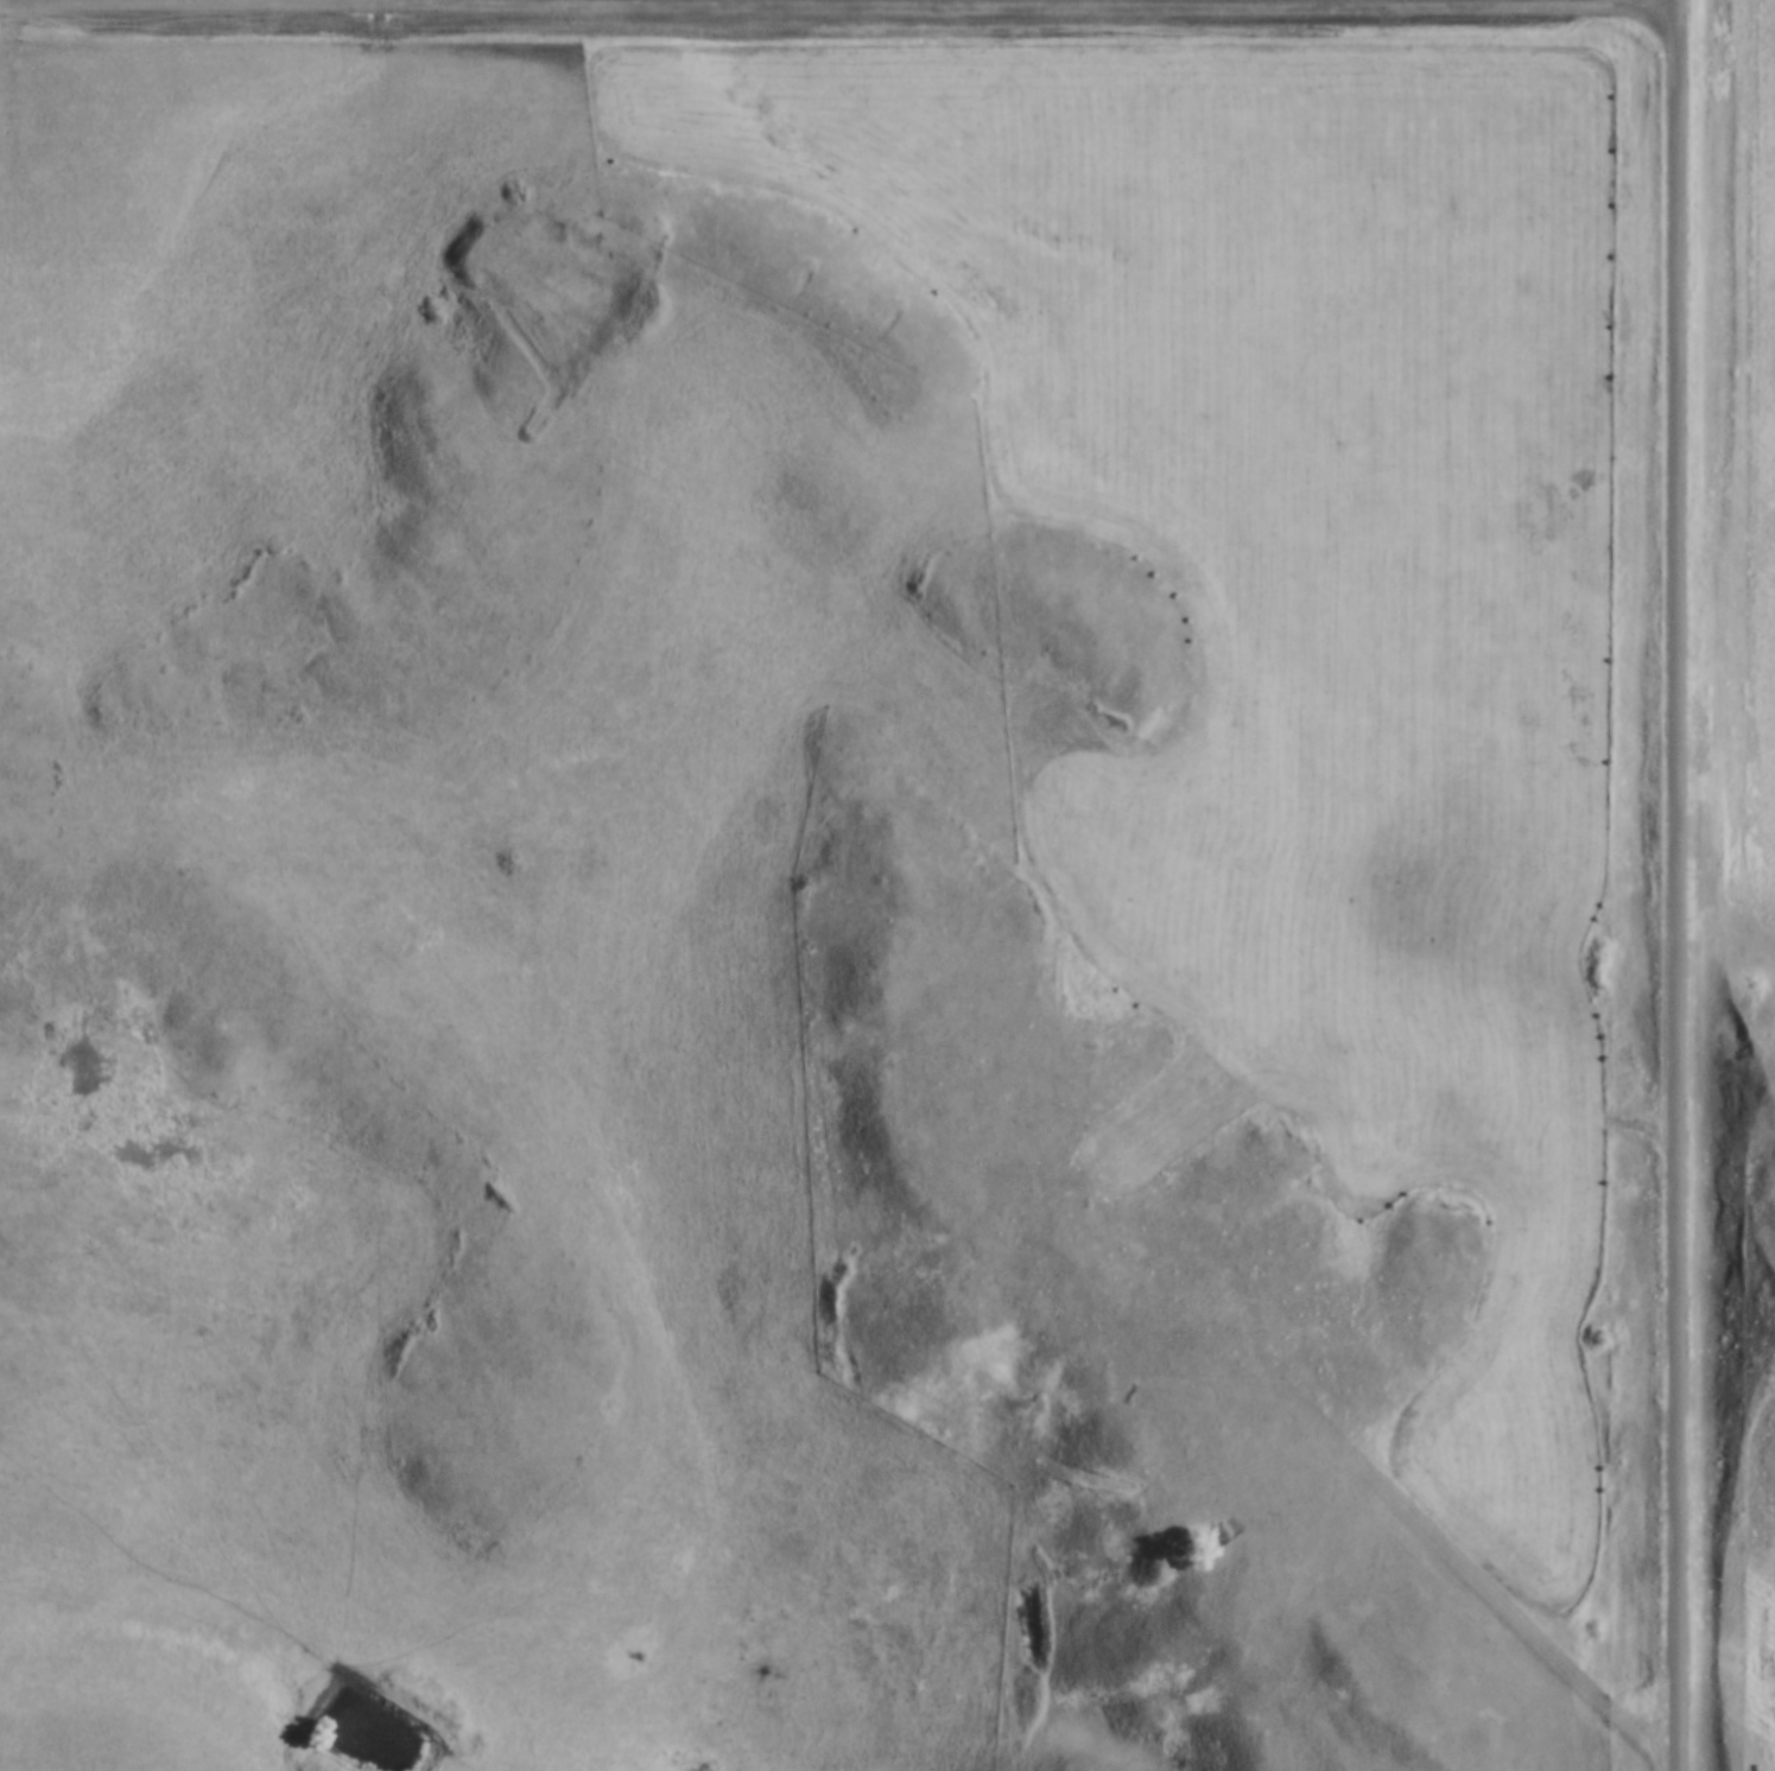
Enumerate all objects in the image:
road: (1077, 4)
road: (1679, 884)

